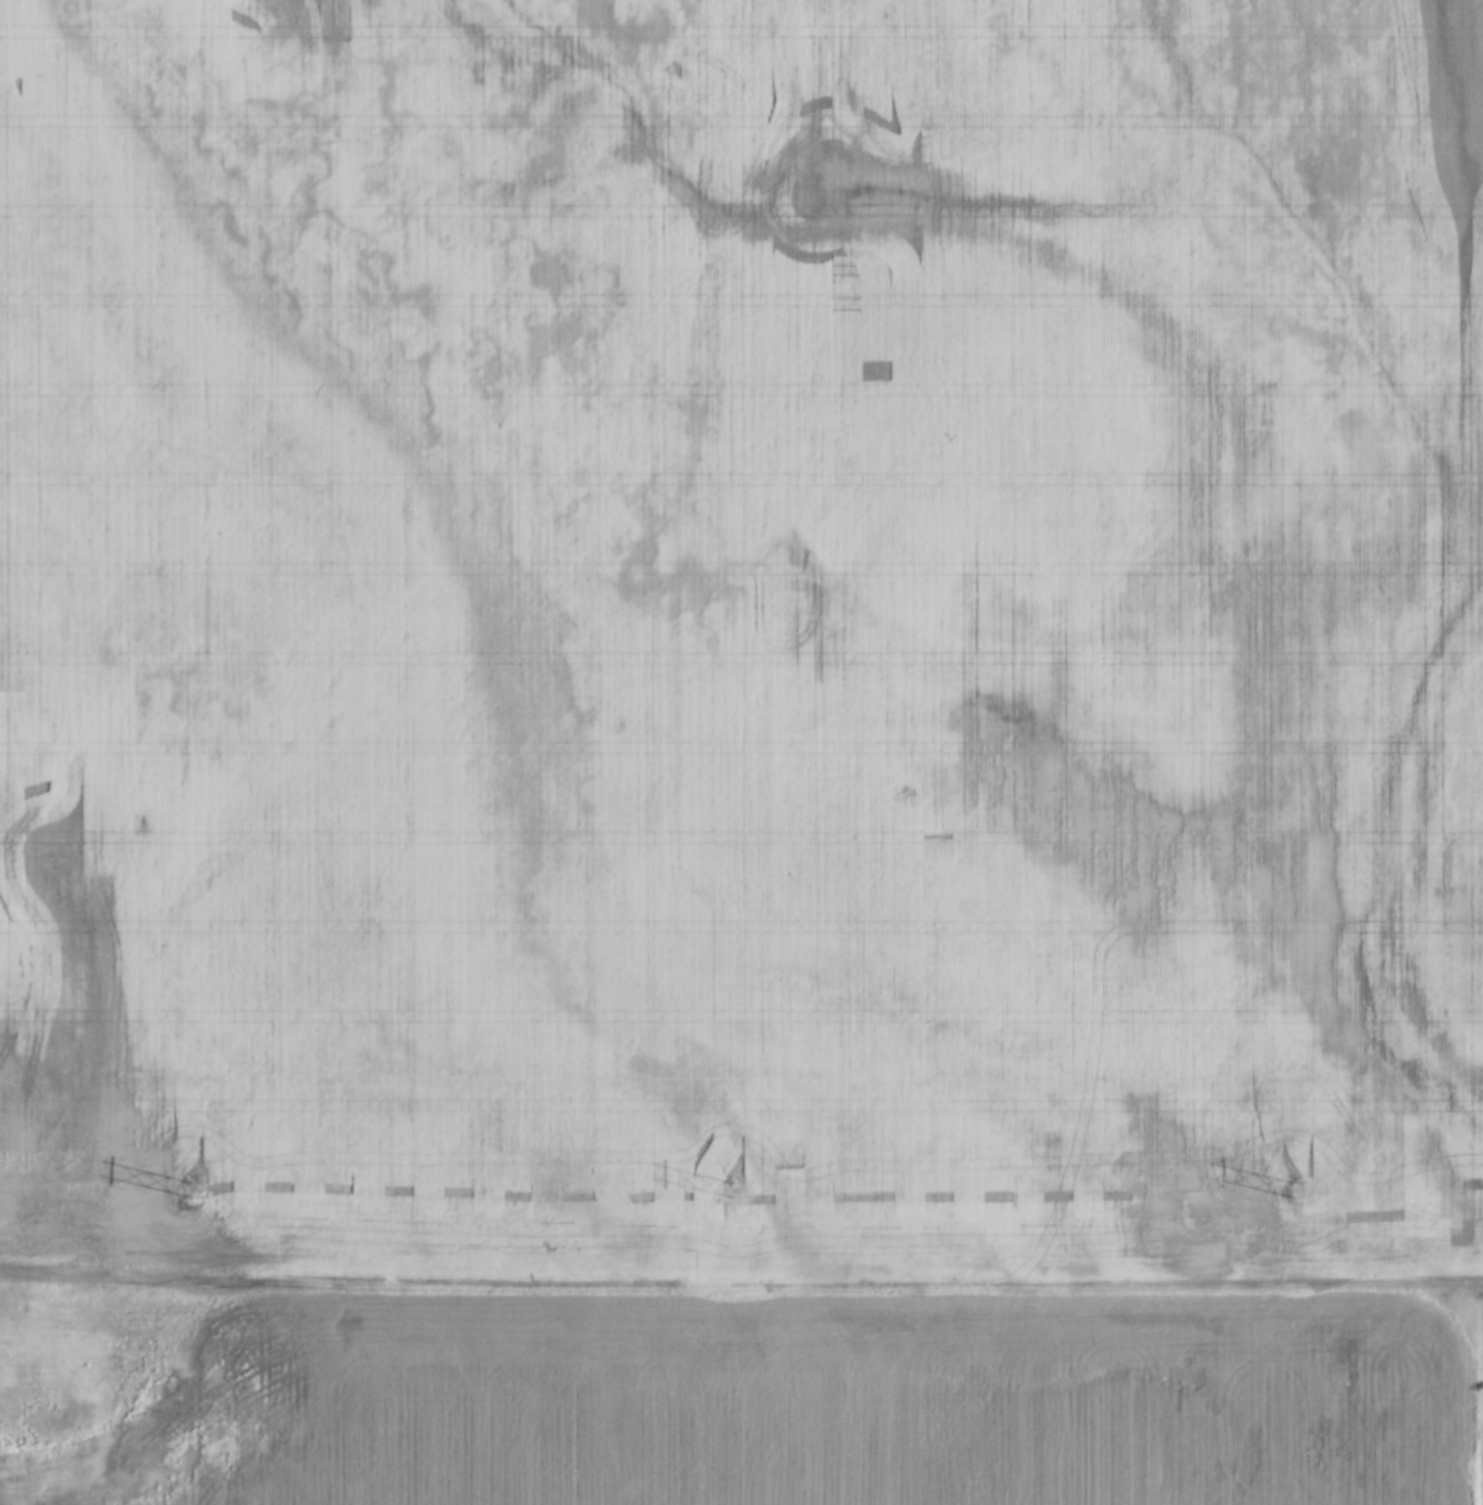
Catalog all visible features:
power tower: (1283, 1177)
power tower: (724, 1184)
power tower: (187, 1189)
road: (741, 1273)

